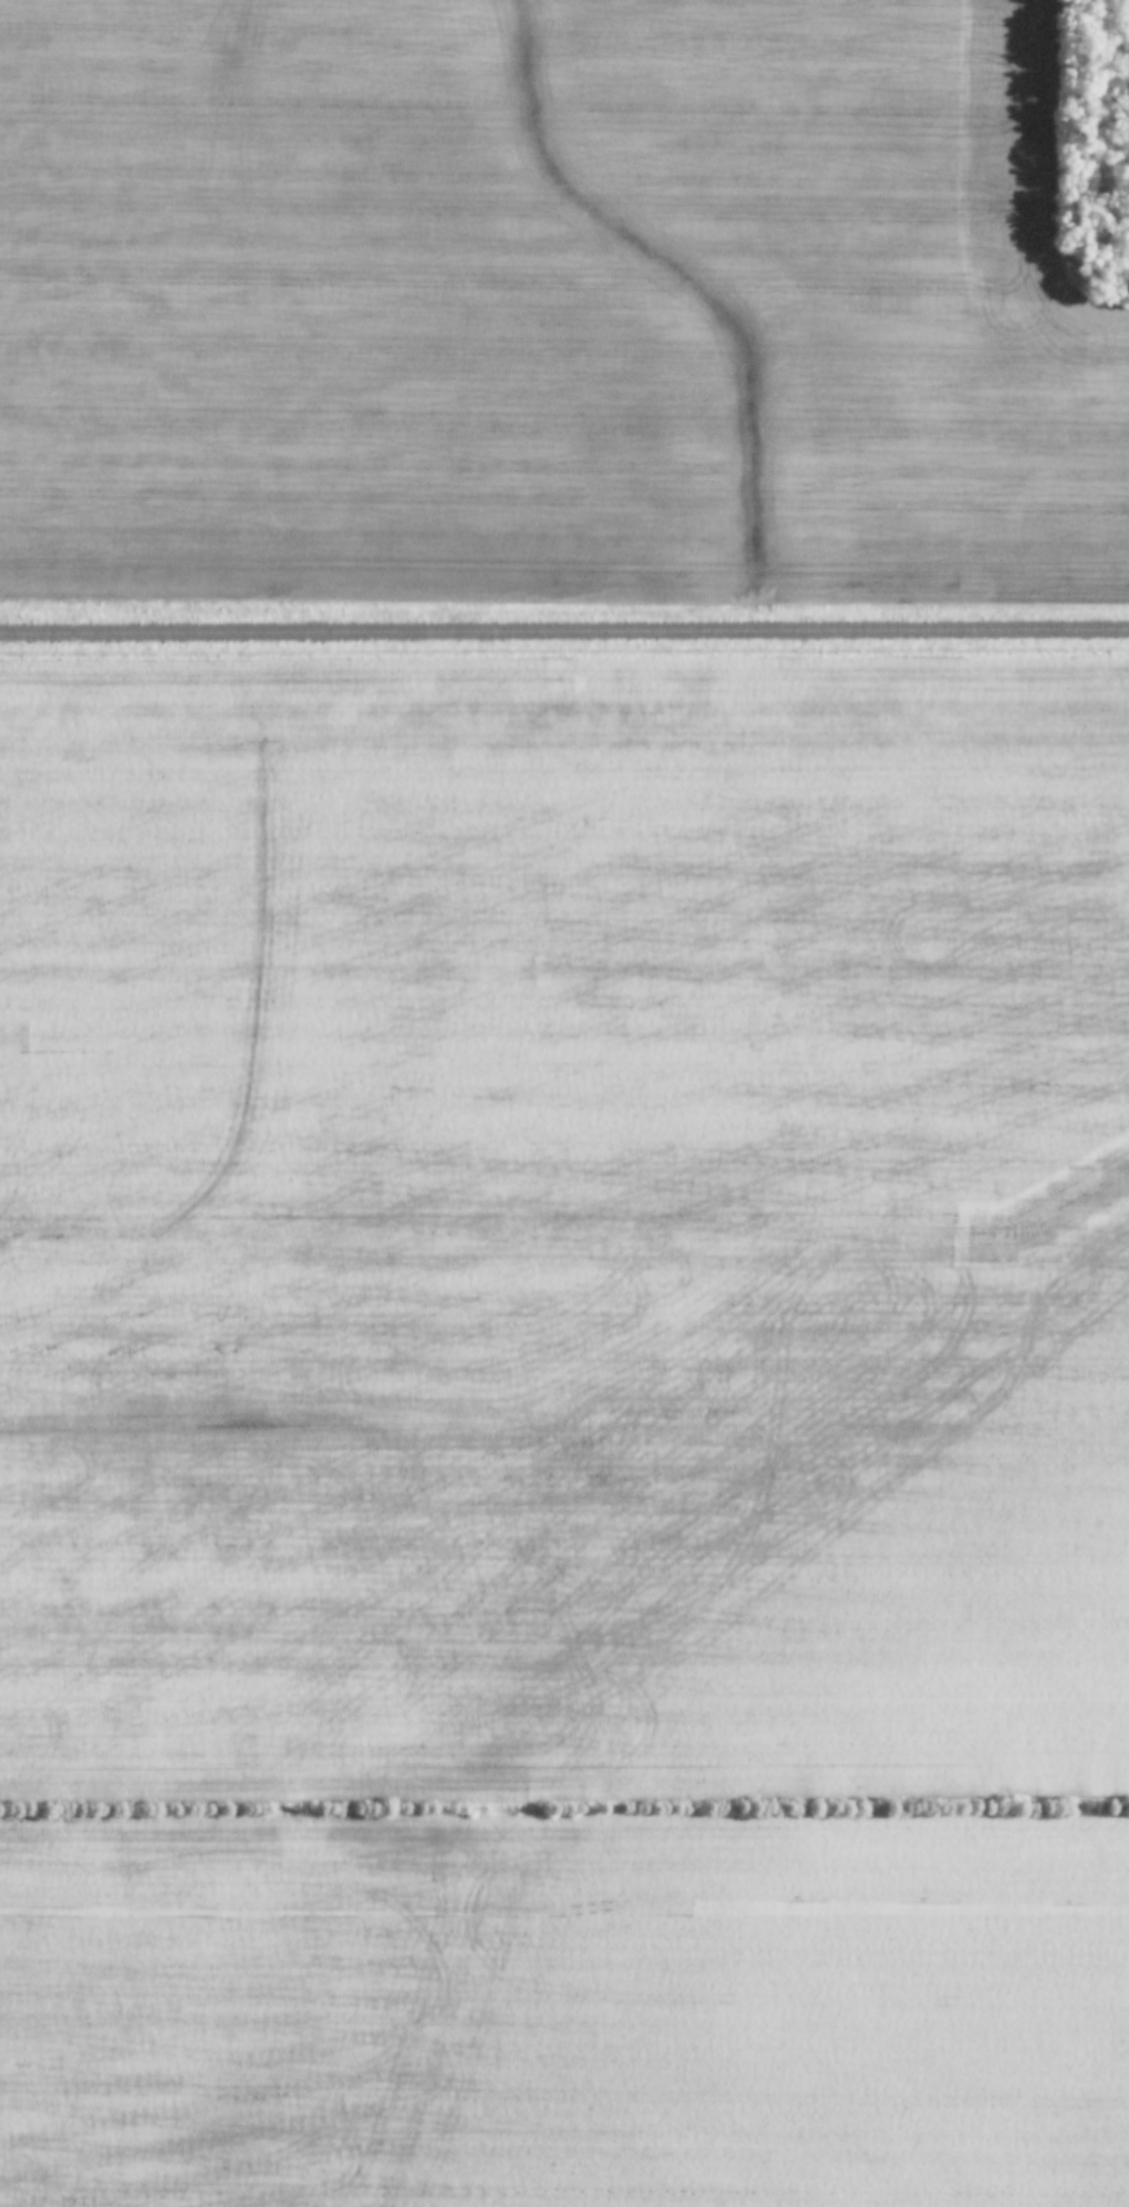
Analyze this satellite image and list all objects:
railway: (564, 631)

